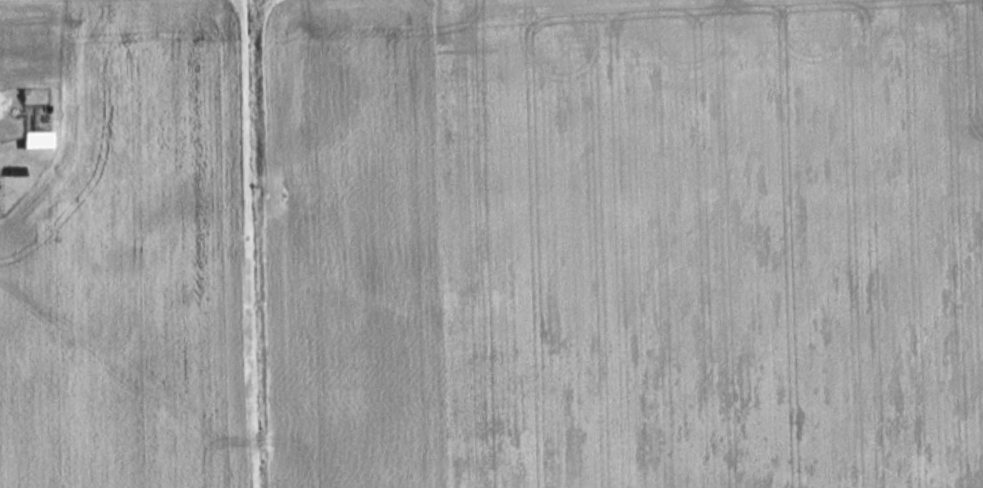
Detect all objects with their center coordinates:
building: (35, 141)

